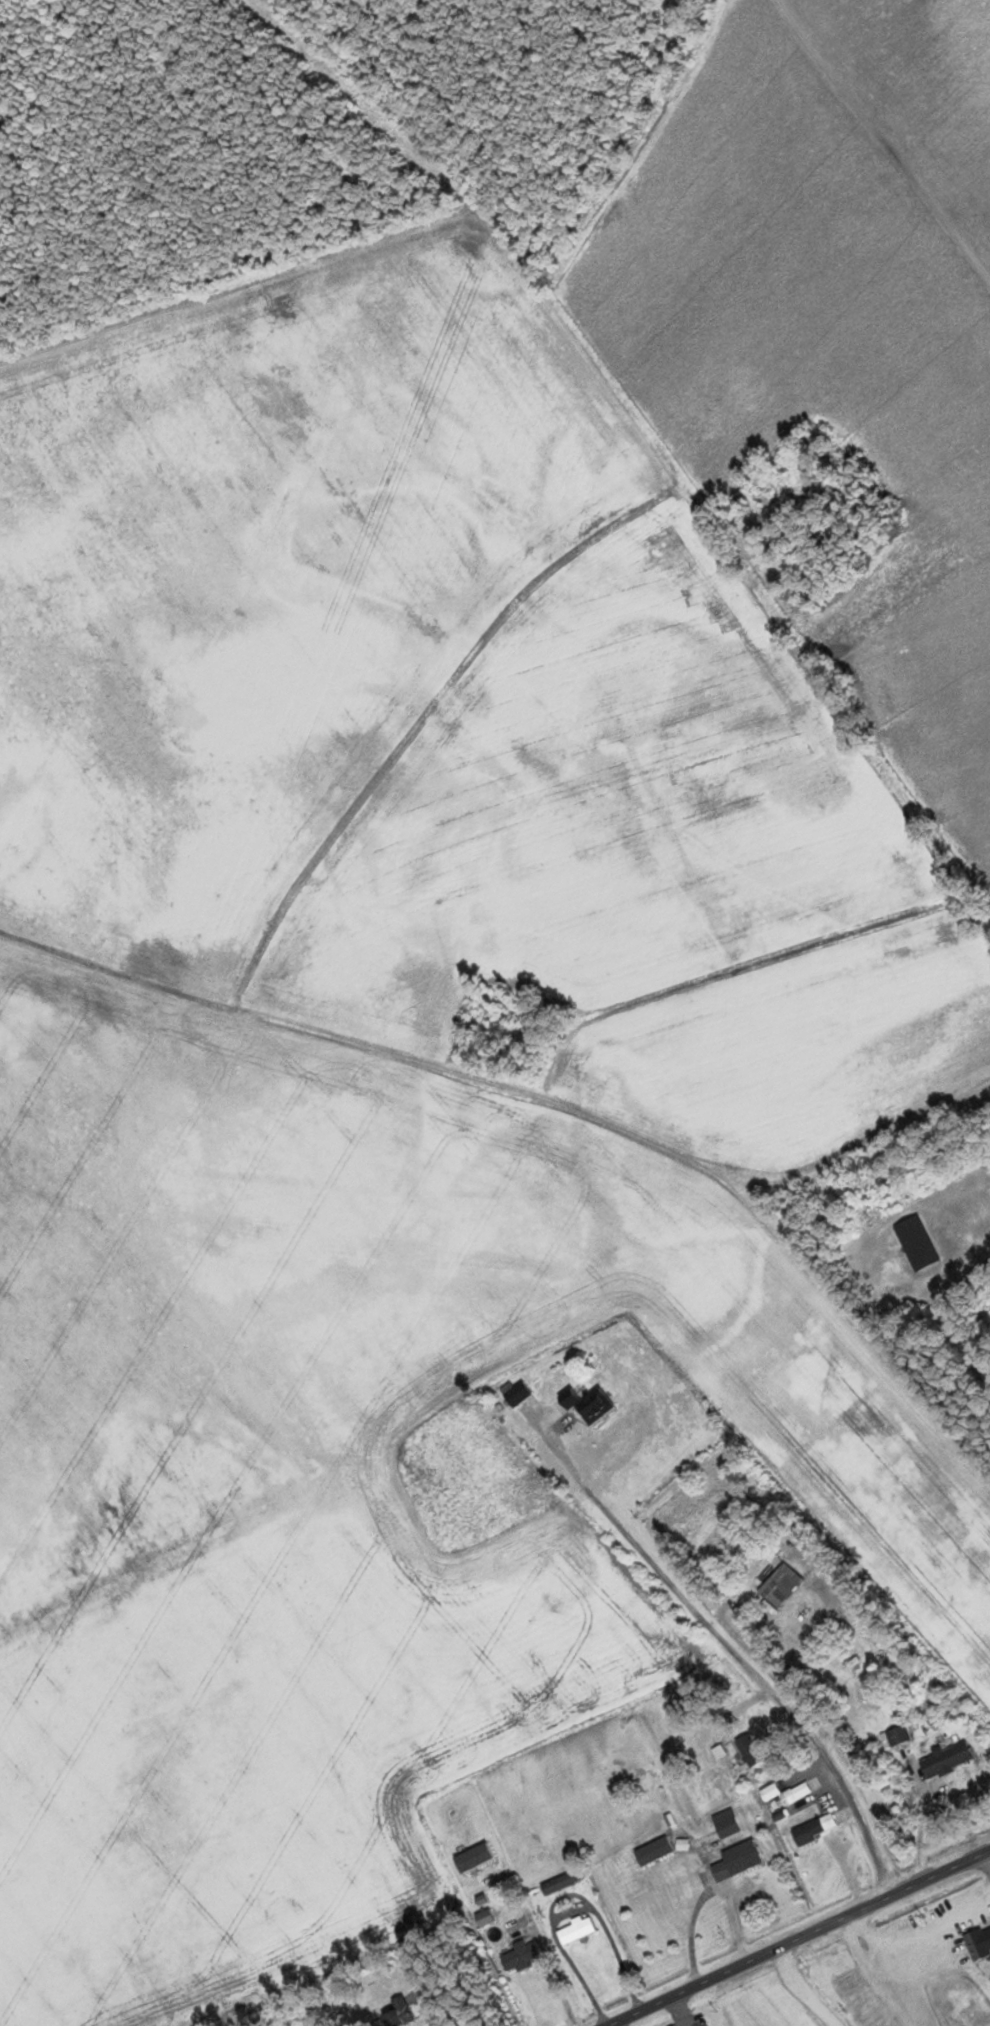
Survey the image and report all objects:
road: (884, 139)
building: (915, 1243)
building: (515, 1392)
building: (587, 1403)
building: (779, 1584)
road: (746, 1659)
building: (898, 1734)
building: (749, 1750)
building: (945, 1759)
building: (786, 1794)
building: (726, 1823)
building: (808, 1831)
building: (654, 1850)
building: (737, 1859)
building: (560, 1882)
building: (481, 1910)
building: (575, 1930)
road: (798, 1939)
building: (977, 1943)
building: (522, 1955)
road: (420, 1993)
building: (396, 2013)

